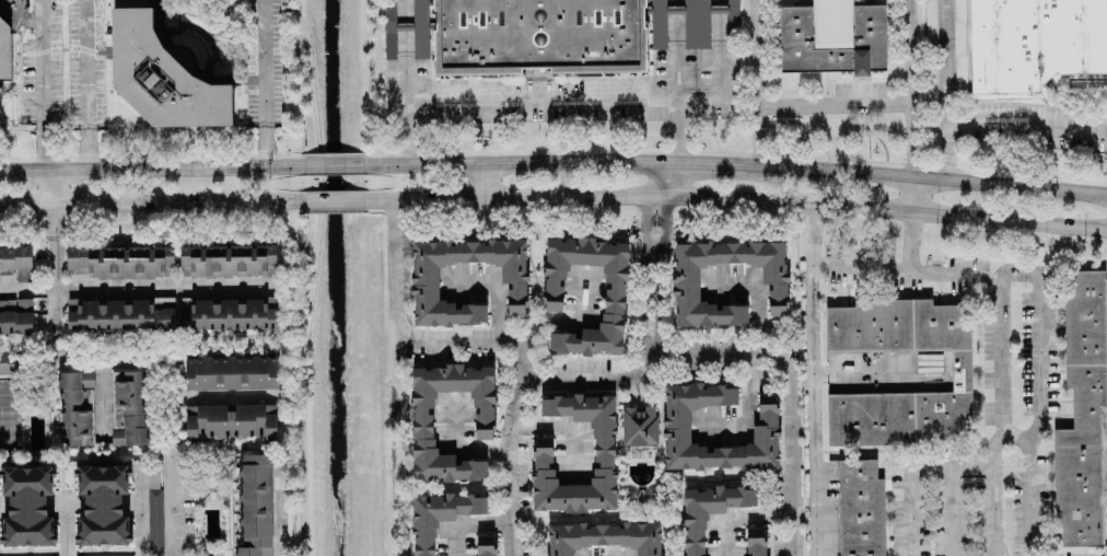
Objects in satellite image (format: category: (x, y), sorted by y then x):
building: (11, 11)
building: (389, 13)
building: (930, 21)
building: (696, 23)
building: (538, 36)
building: (831, 37)
building: (1034, 43)
building: (959, 46)
road: (673, 49)
building: (4, 50)
building: (162, 74)
road: (293, 82)
road: (750, 82)
road: (261, 83)
road: (364, 83)
road: (400, 83)
road: (83, 84)
road: (37, 88)
road: (908, 88)
road: (608, 100)
road: (830, 106)
building: (0, 109)
road: (965, 124)
road: (675, 131)
road: (874, 139)
road: (944, 151)
road: (734, 164)
road: (330, 166)
road: (150, 167)
road: (673, 181)
road: (479, 182)
road: (56, 187)
road: (909, 195)
road: (734, 198)
road: (331, 200)
road: (151, 202)
road: (912, 239)
building: (228, 260)
building: (119, 262)
building: (15, 265)
road: (305, 265)
road: (395, 268)
building: (424, 274)
building: (685, 275)
road: (138, 283)
road: (496, 287)
building: (614, 288)
road: (316, 290)
building: (120, 314)
building: (228, 314)
building: (15, 316)
road: (555, 322)
road: (1000, 326)
road: (650, 328)
road: (447, 338)
road: (758, 350)
road: (136, 359)
building: (7, 366)
road: (884, 371)
building: (231, 372)
building: (959, 372)
road: (823, 379)
road: (590, 380)
building: (732, 395)
road: (103, 396)
road: (225, 397)
road: (1038, 397)
building: (129, 407)
building: (75, 408)
building: (1082, 412)
building: (232, 421)
building: (423, 421)
road: (562, 425)
building: (639, 426)
building: (676, 435)
road: (1016, 439)
road: (790, 443)
road: (395, 445)
road: (461, 447)
road: (511, 449)
building: (603, 460)
road: (917, 465)
building: (102, 505)
building: (26, 506)
building: (254, 506)
road: (958, 507)
building: (860, 509)
building: (154, 511)
building: (709, 511)
road: (738, 511)
road: (467, 516)
road: (140, 517)
building: (440, 517)
road: (284, 522)
road: (63, 524)
building: (754, 532)
building: (605, 537)
building: (485, 545)
building: (755, 546)
building: (118, 555)

